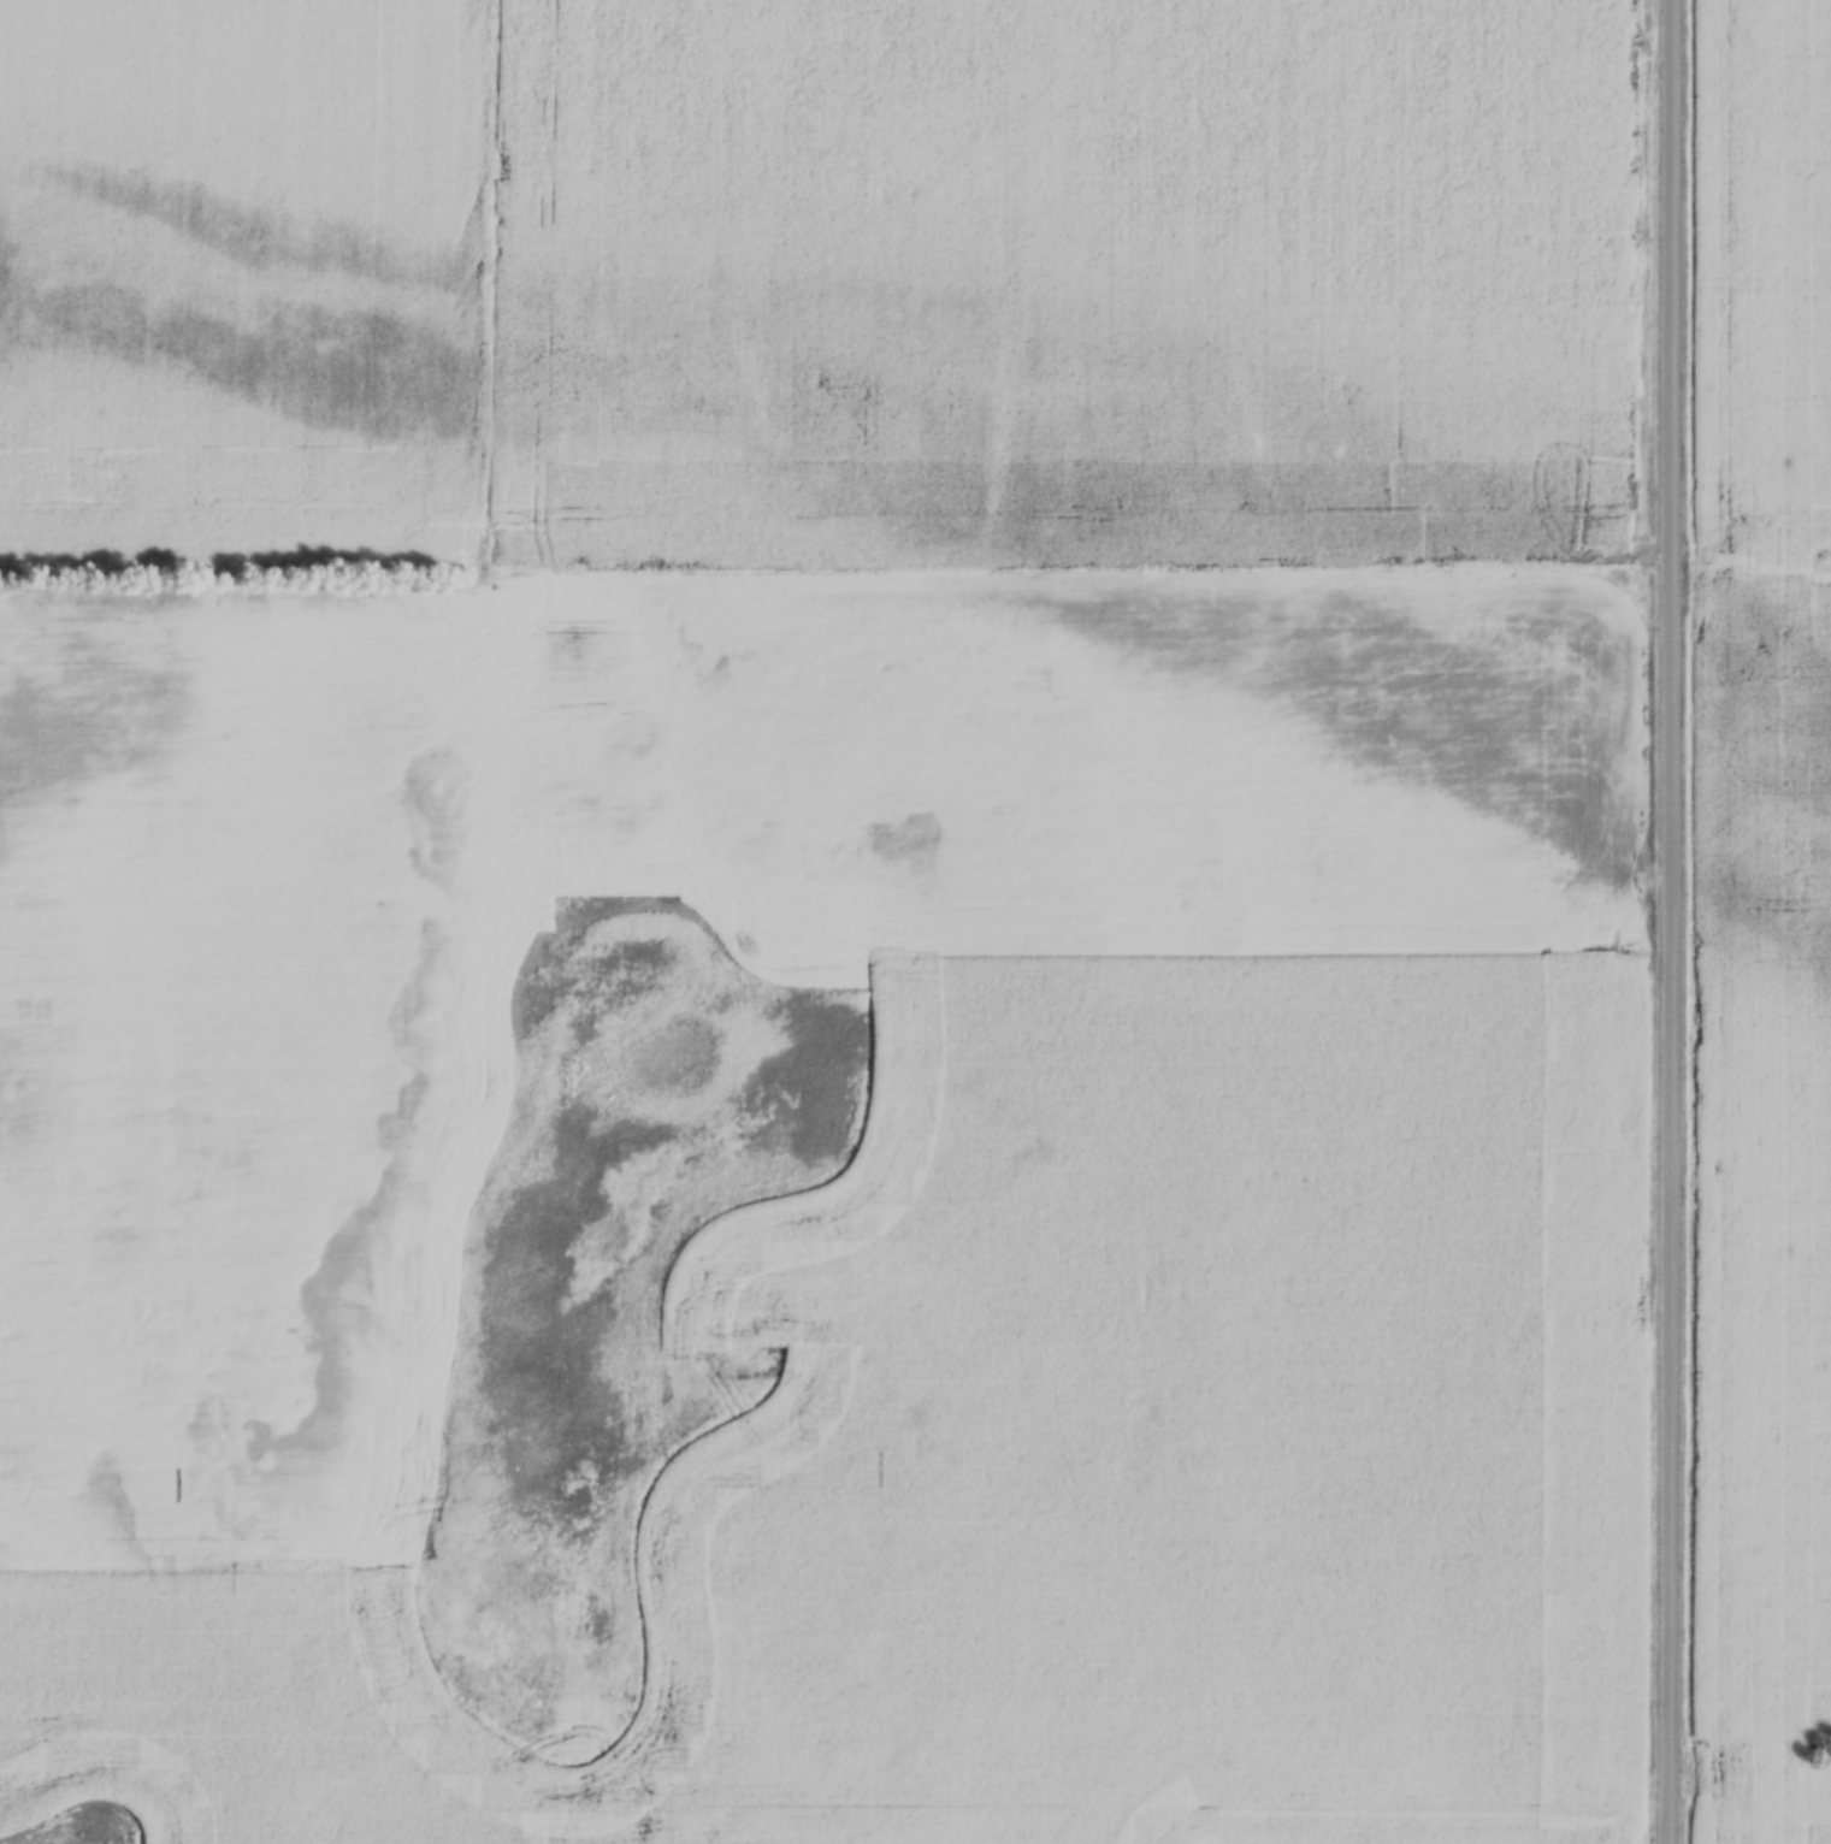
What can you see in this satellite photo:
road: (1664, 921)

